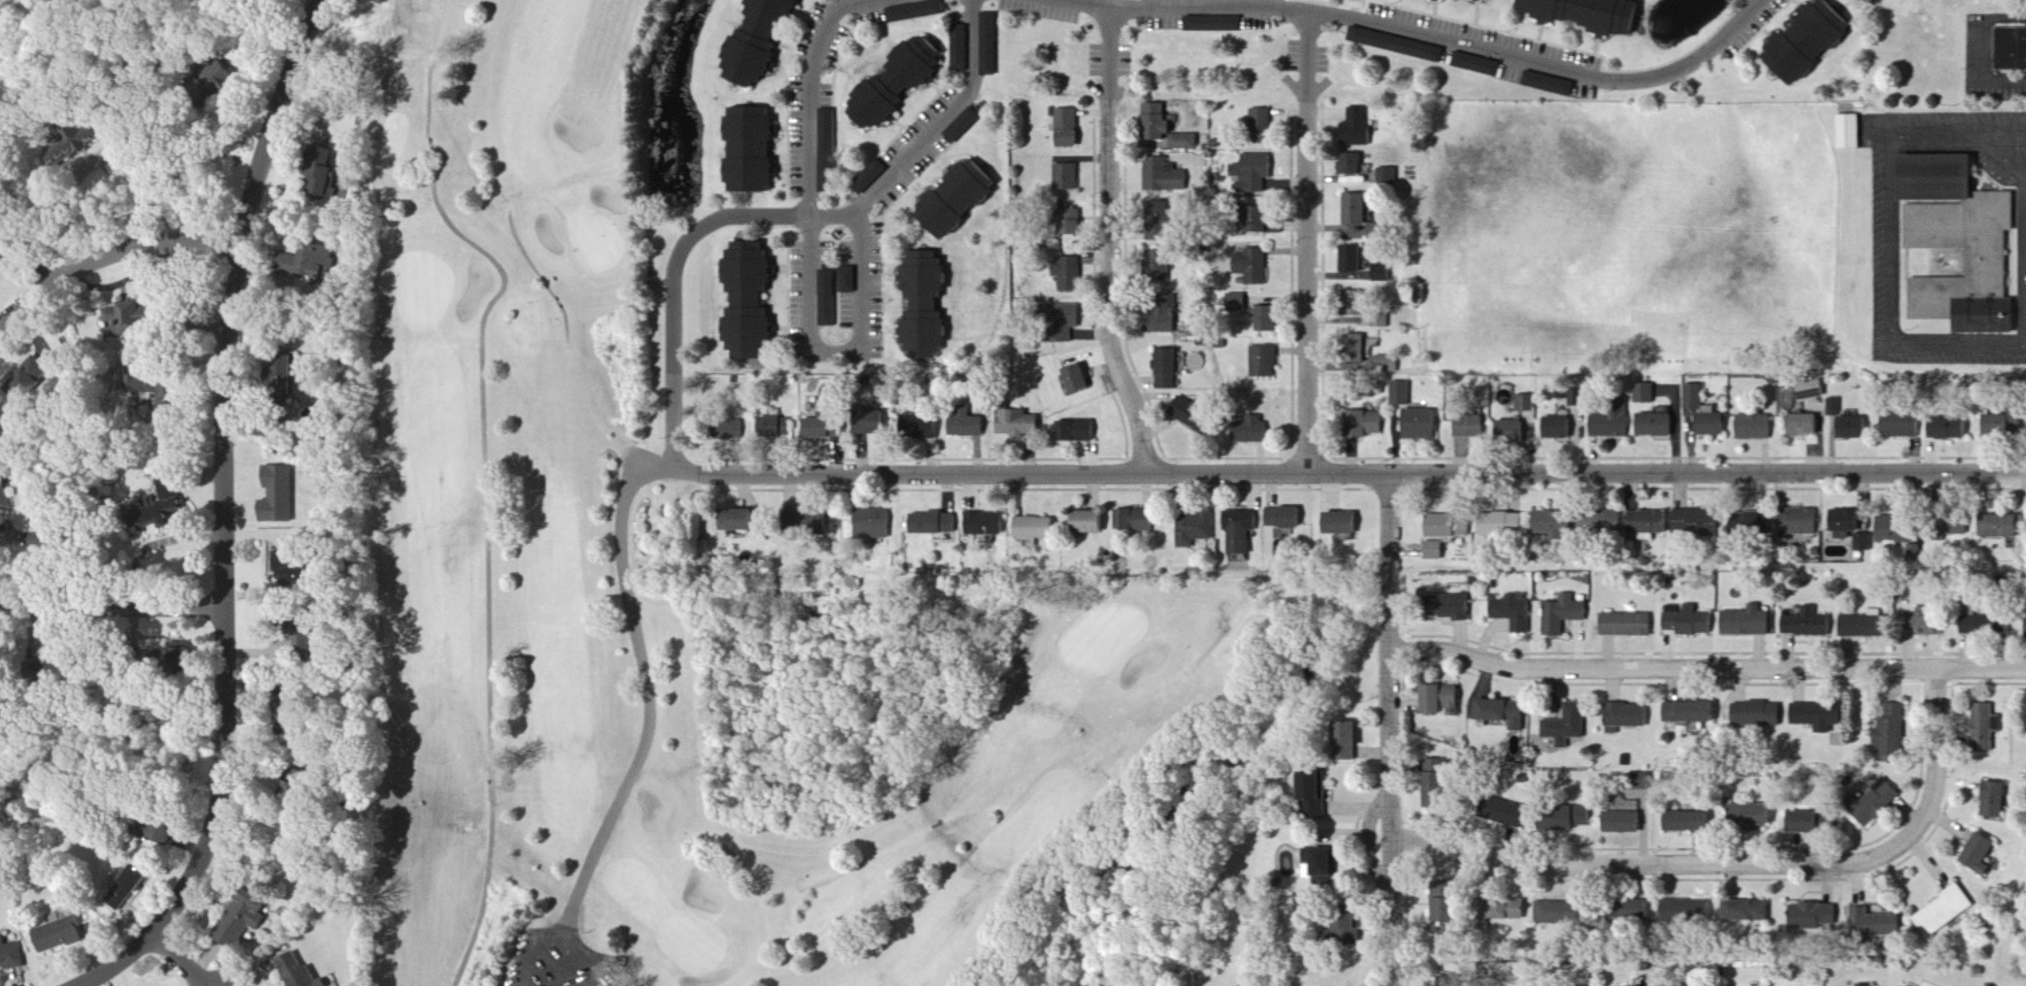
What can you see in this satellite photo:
building: (918, 11)
building: (1593, 14)
building: (1215, 24)
road: (1425, 37)
building: (764, 42)
building: (1810, 43)
building: (990, 45)
building: (1398, 45)
building: (2009, 49)
building: (962, 50)
building: (1479, 65)
building: (227, 77)
road: (2001, 79)
building: (901, 84)
building: (1550, 85)
building: (1264, 121)
building: (1158, 124)
building: (965, 126)
building: (1360, 128)
building: (1070, 129)
road: (2000, 129)
building: (1845, 131)
road: (926, 132)
building: (1186, 143)
building: (756, 151)
building: (830, 151)
road: (811, 153)
building: (1354, 165)
building: (1256, 173)
road: (134, 177)
building: (1166, 177)
building: (1390, 178)
building: (1068, 179)
building: (327, 181)
road: (69, 195)
building: (962, 200)
building: (1359, 211)
building: (1166, 222)
building: (1074, 223)
building: (1267, 223)
building: (1380, 232)
road: (1891, 232)
building: (1964, 236)
road: (1309, 243)
road: (1111, 245)
road: (115, 251)
road: (32, 252)
building: (1355, 260)
building: (318, 262)
building: (1161, 264)
building: (1254, 267)
building: (1384, 273)
building: (1070, 274)
building: (849, 280)
road: (675, 289)
building: (829, 299)
building: (754, 302)
road: (862, 302)
building: (1357, 302)
building: (1240, 303)
building: (930, 307)
building: (137, 316)
building: (1169, 318)
building: (1269, 320)
building: (1067, 321)
building: (1382, 321)
building: (1357, 346)
building: (1266, 363)
building: (1389, 363)
building: (299, 370)
building: (1171, 370)
building: (35, 379)
building: (1080, 381)
building: (1807, 389)
building: (1642, 393)
building: (1403, 394)
building: (1528, 404)
building: (175, 405)
building: (1833, 407)
building: (1700, 411)
building: (1199, 418)
building: (1367, 424)
building: (1606, 424)
building: (1652, 424)
building: (1800, 424)
building: (1996, 424)
building: (880, 425)
building: (1021, 425)
building: (1424, 425)
building: (1895, 425)
building: (970, 426)
building: (1751, 426)
building: (923, 427)
building: (1554, 427)
building: (1851, 427)
building: (778, 428)
building: (828, 428)
building: (1473, 428)
building: (1944, 428)
building: (735, 431)
building: (1514, 431)
building: (1079, 432)
building: (1253, 435)
road: (1351, 474)
building: (173, 494)
building: (283, 496)
building: (3, 497)
road: (236, 518)
building: (1288, 519)
building: (1841, 520)
building: (1138, 521)
building: (1645, 521)
building: (1795, 521)
building: (744, 522)
building: (1597, 522)
building: (1693, 522)
building: (1547, 523)
building: (1745, 523)
building: (168, 524)
building: (937, 524)
building: (1092, 524)
building: (1495, 524)
building: (875, 525)
building: (988, 525)
building: (1347, 525)
building: (818, 526)
building: (1950, 526)
building: (1994, 526)
building: (1447, 527)
building: (1037, 529)
building: (1890, 529)
building: (1197, 530)
building: (1244, 531)
building: (1862, 542)
building: (53, 544)
building: (1436, 551)
building: (301, 574)
park: (648, 585)
road: (115, 605)
building: (1445, 607)
building: (1511, 612)
building: (1560, 614)
building: (294, 618)
building: (1686, 620)
building: (1744, 621)
building: (1804, 623)
building: (1623, 624)
building: (1983, 625)
building: (2023, 625)
building: (1857, 626)
building: (307, 654)
building: (186, 657)
road: (1708, 668)
building: (77, 671)
road: (650, 698)
building: (1437, 698)
building: (296, 708)
building: (1499, 712)
building: (1685, 712)
building: (1754, 713)
building: (1623, 715)
building: (1813, 716)
building: (2023, 716)
building: (1564, 725)
building: (1981, 726)
road: (1391, 730)
building: (1888, 732)
building: (1341, 741)
building: (1433, 764)
building: (1429, 787)
building: (1989, 800)
building: (1872, 803)
building: (1506, 813)
building: (1582, 816)
building: (1552, 818)
building: (1680, 821)
building: (1619, 822)
building: (1797, 822)
building: (163, 832)
building: (1974, 854)
road: (1740, 862)
building: (1315, 864)
building: (132, 887)
building: (1436, 902)
building: (1501, 909)
building: (1630, 911)
building: (1682, 911)
building: (1741, 911)
building: (1940, 911)
building: (1554, 913)
building: (1808, 915)
building: (245, 918)
building: (1869, 923)
building: (62, 935)
road: (535, 948)
building: (11, 955)
road: (597, 959)
road: (184, 960)
road: (566, 965)
building: (302, 973)
building: (1862, 985)

